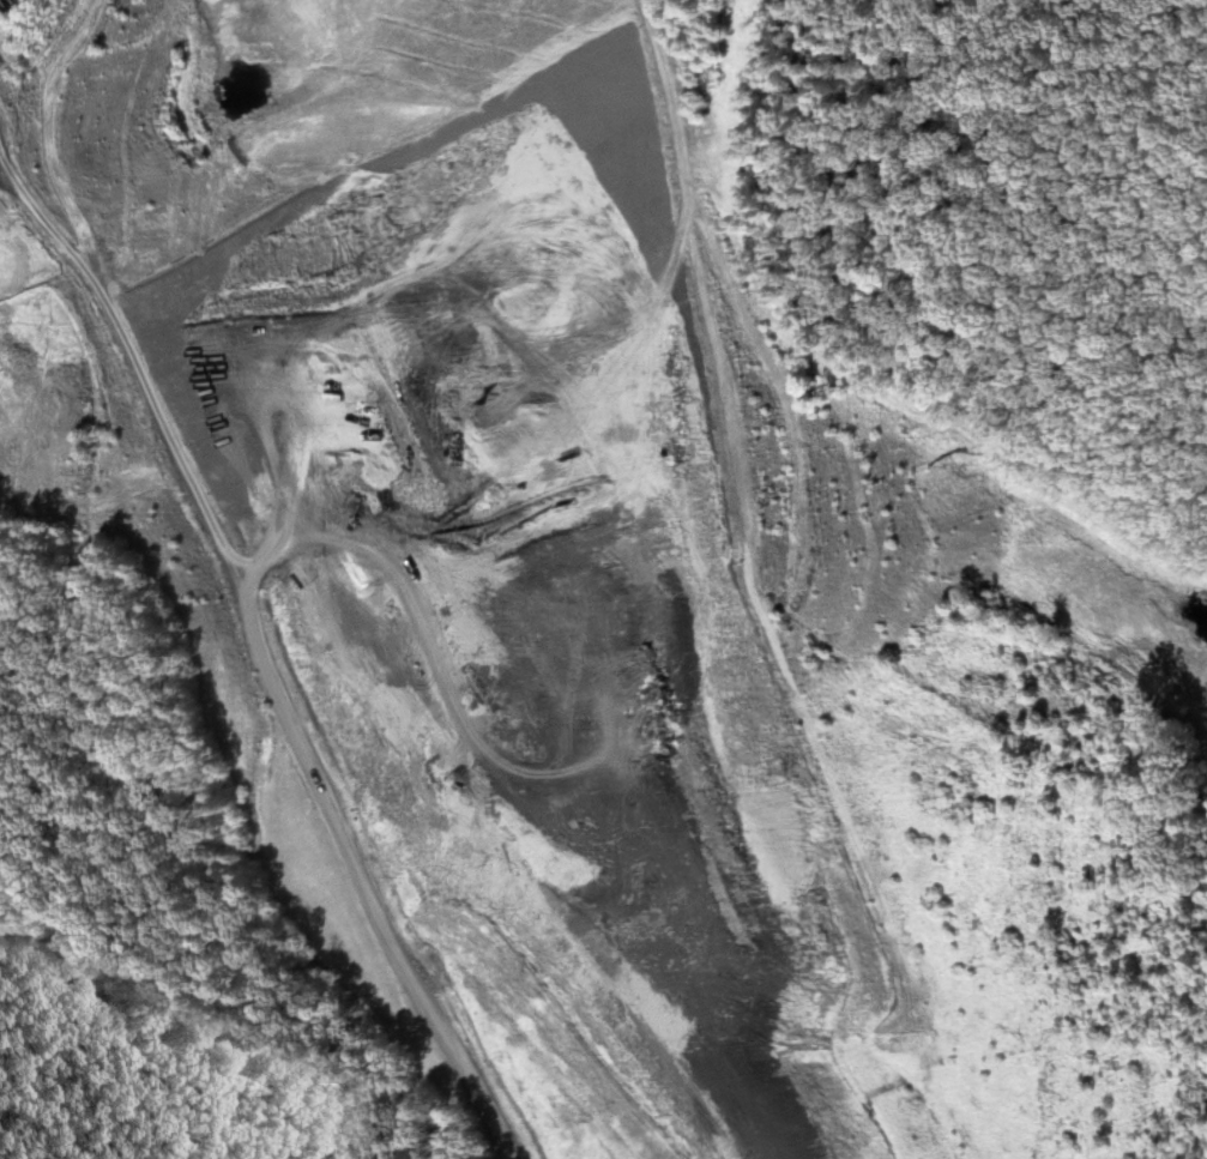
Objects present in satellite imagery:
road: (740, 296)
road: (252, 636)

